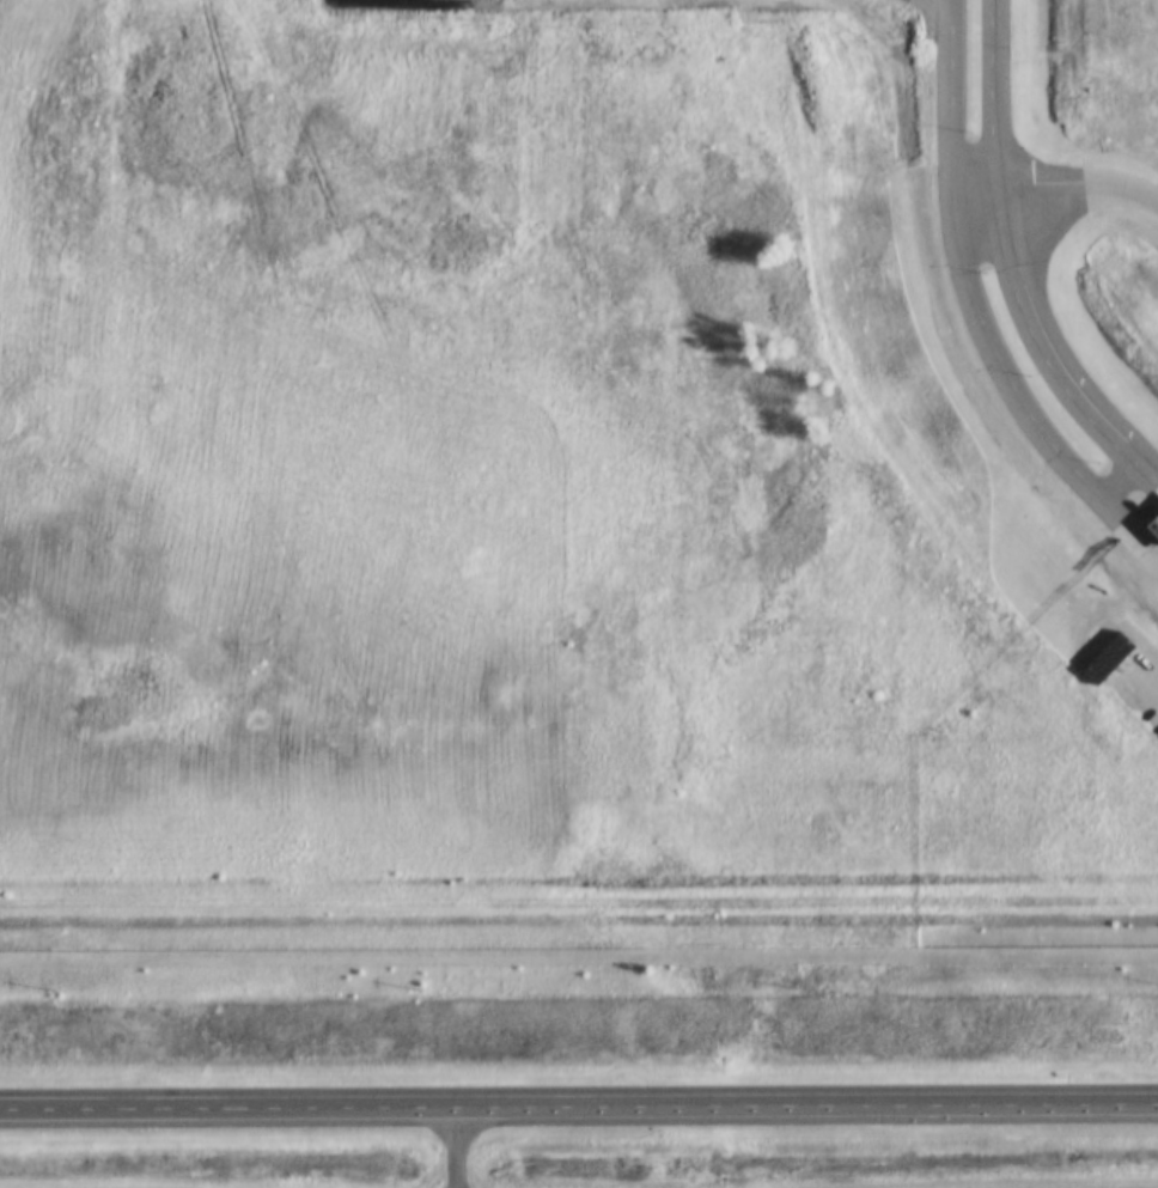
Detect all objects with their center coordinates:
airport: (1086, 153)
road: (1079, 184)
road: (1013, 266)
road: (579, 1090)

